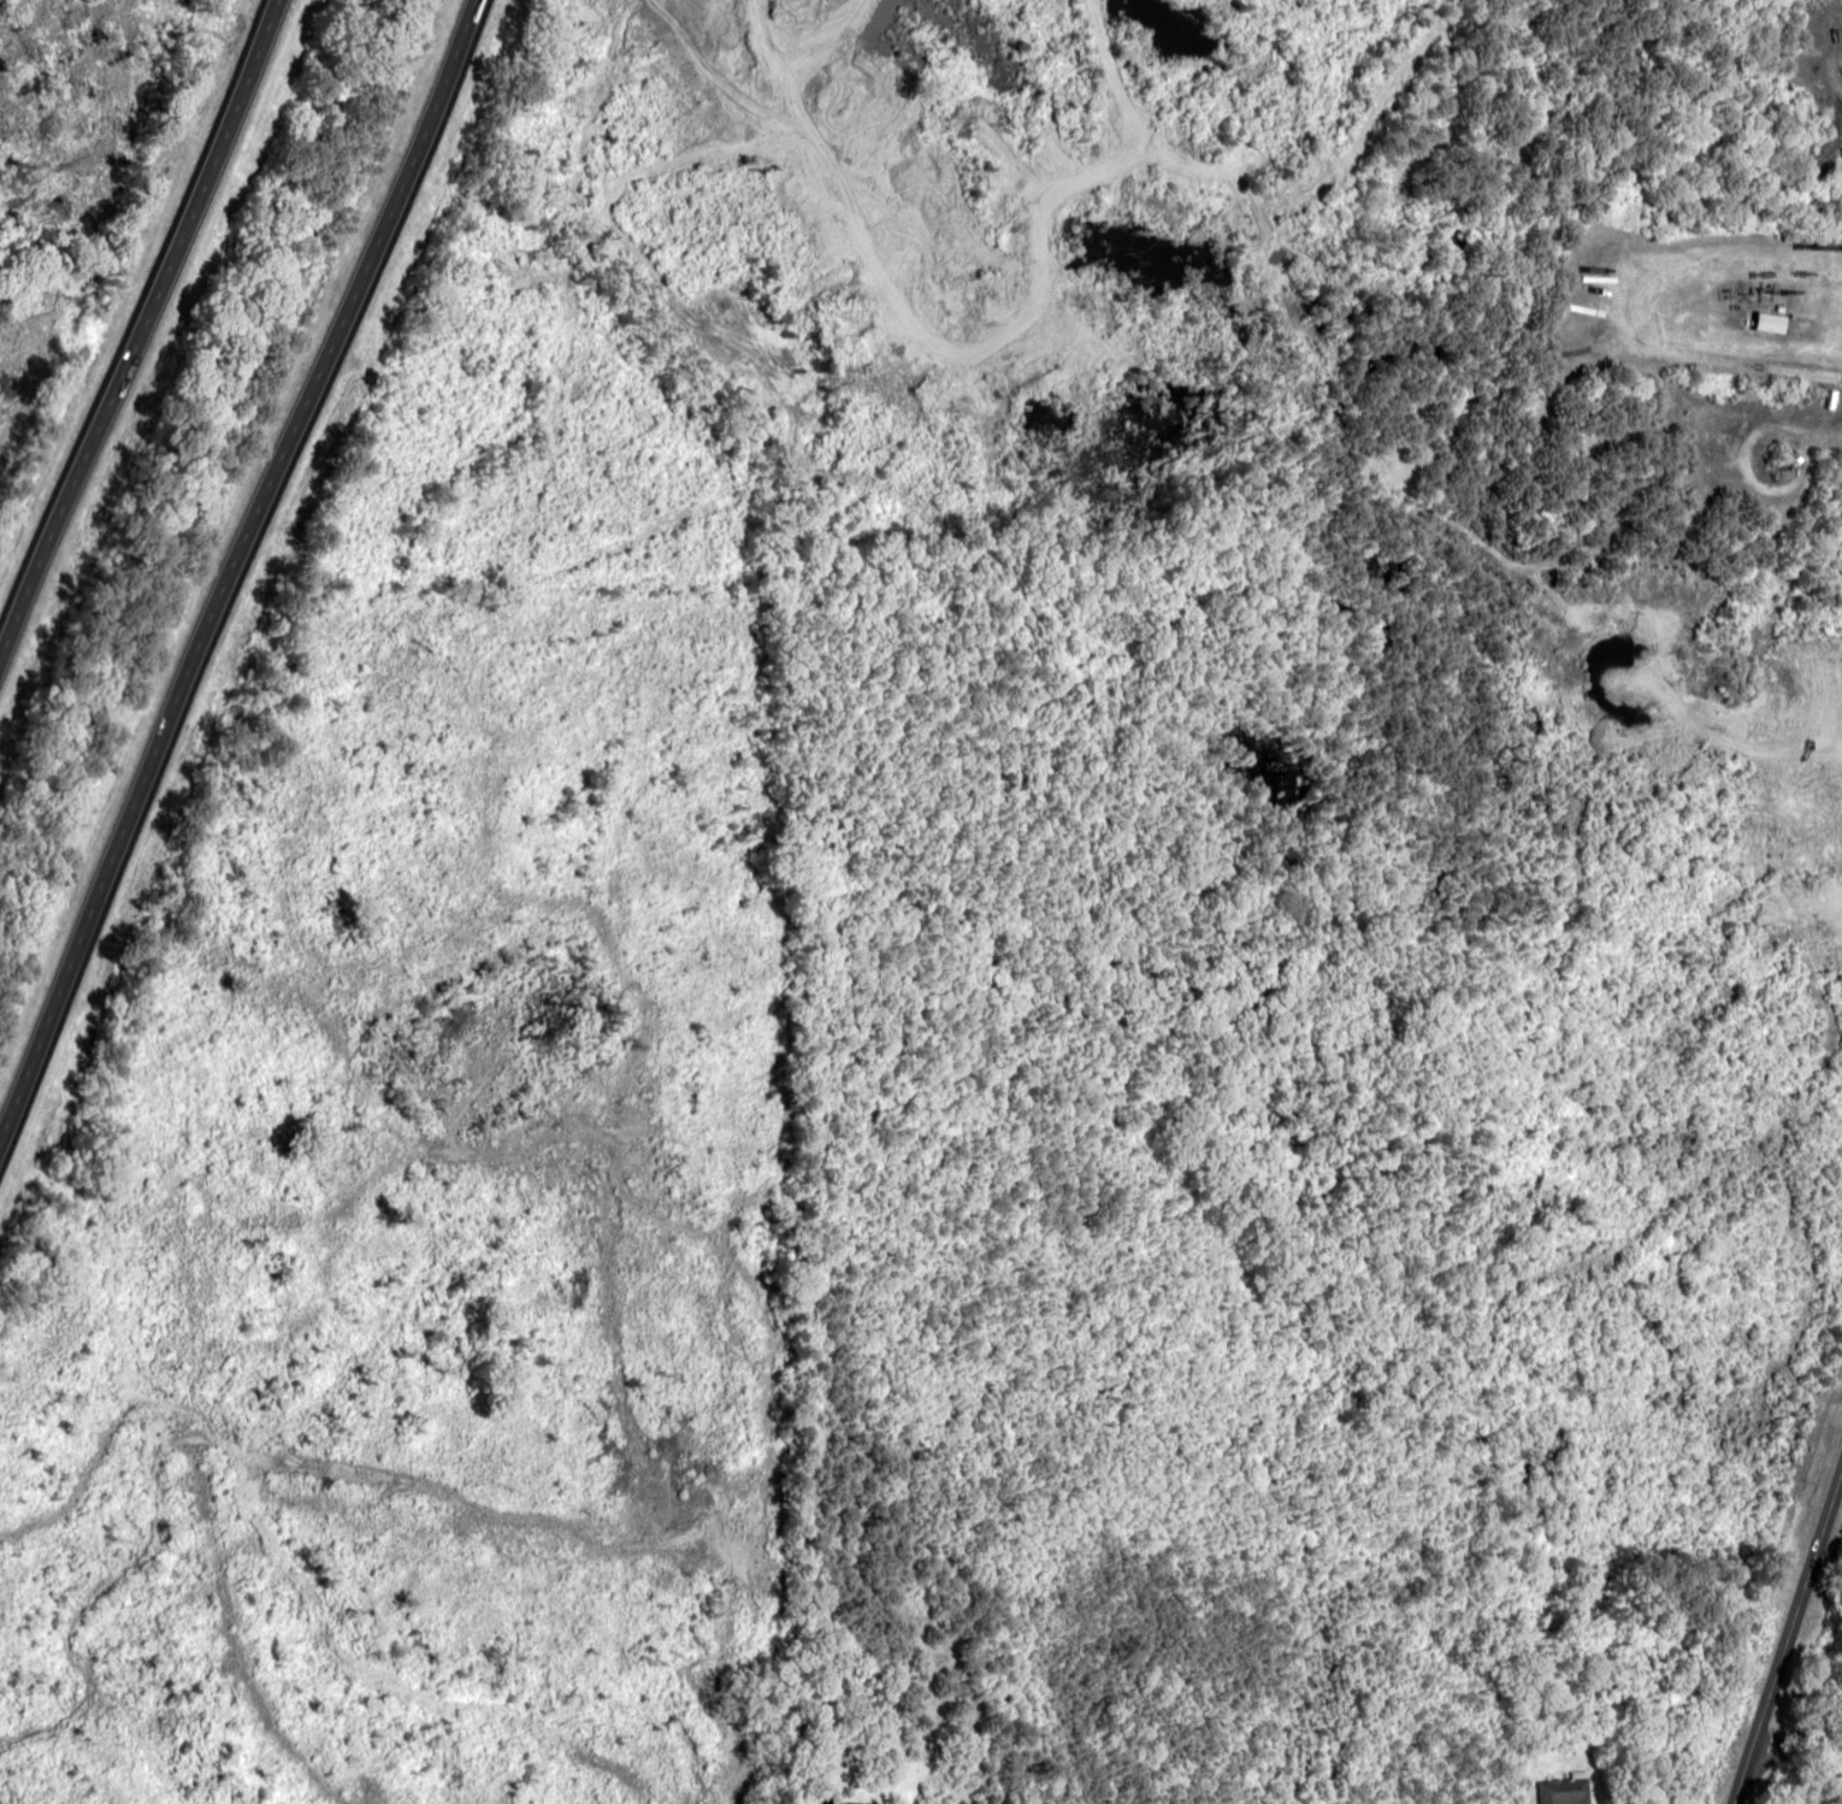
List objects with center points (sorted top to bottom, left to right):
road: (134, 320)
building: (1757, 323)
road: (241, 565)
road: (405, 1298)
road: (1787, 1628)
road: (476, 1703)
road: (1797, 1740)
building: (1558, 1790)
building: (851, 1803)

